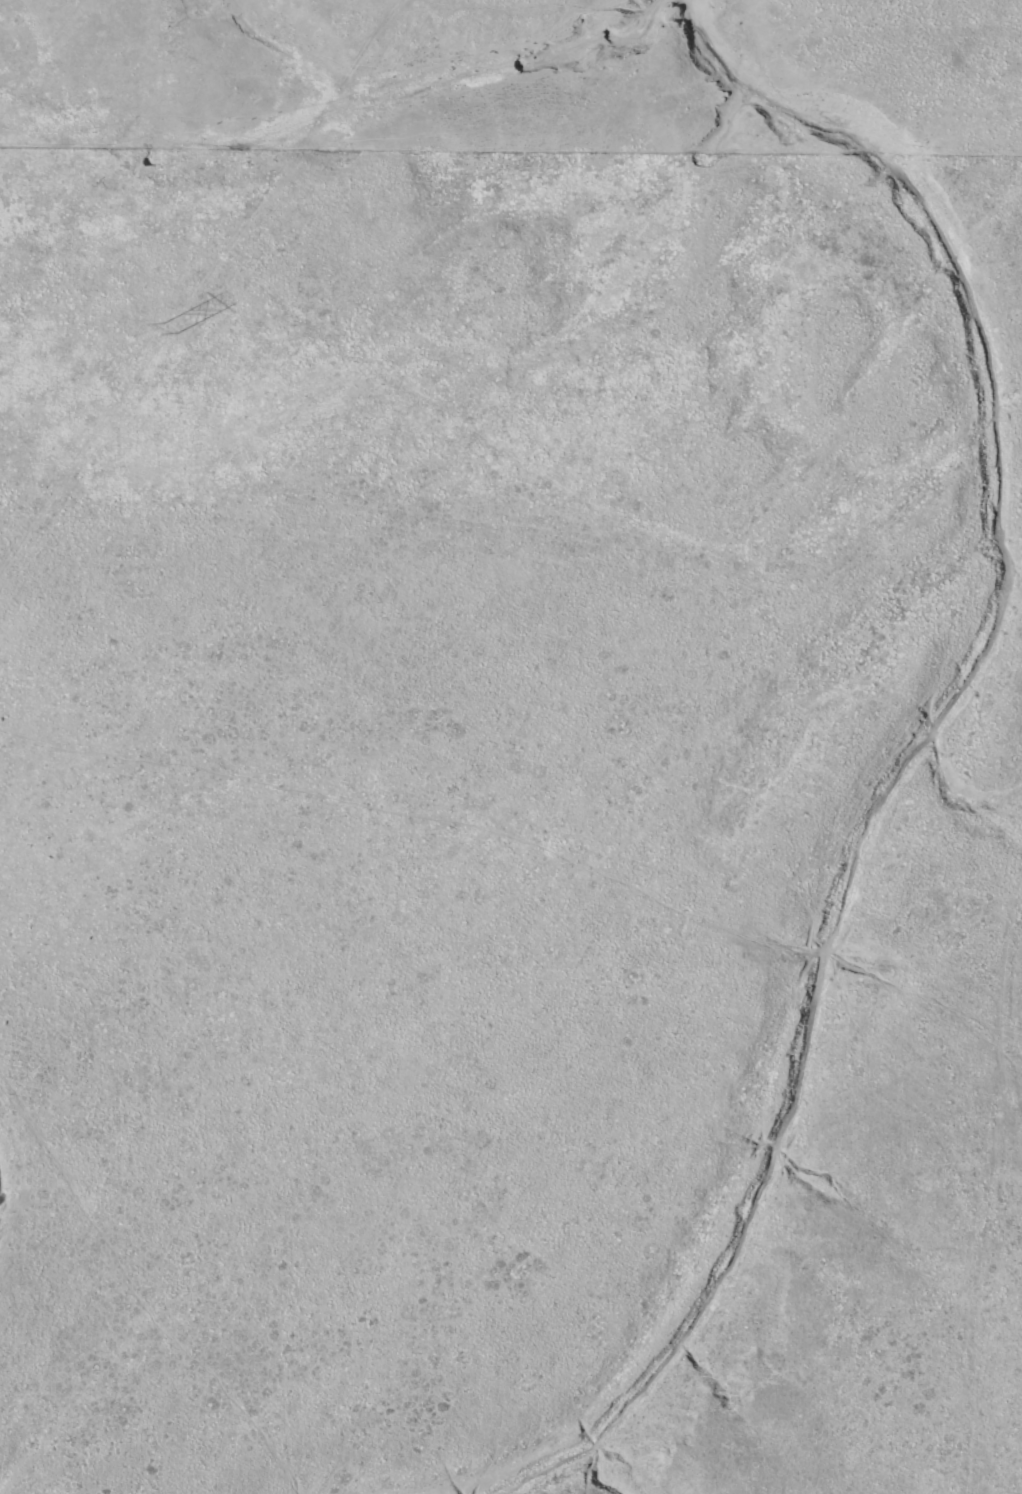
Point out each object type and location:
power tower: (159, 331)

